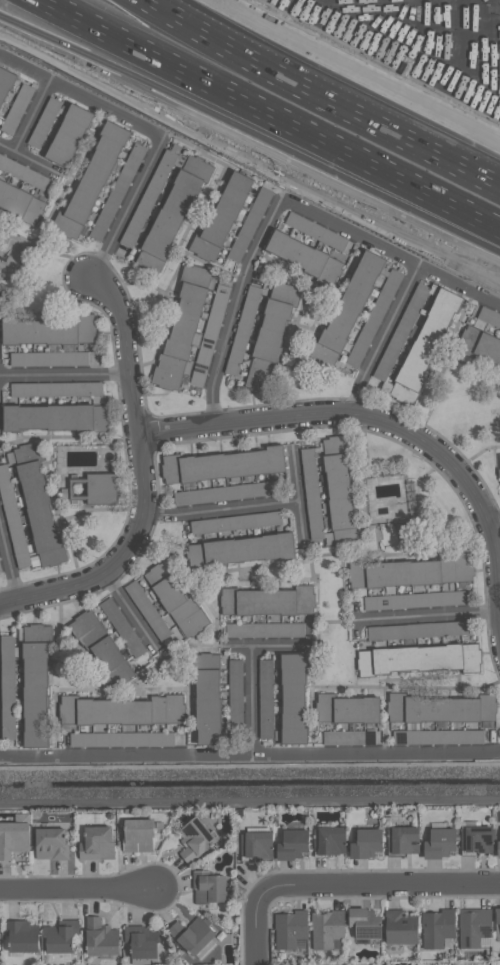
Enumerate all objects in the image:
road: (58, 28)
road: (51, 37)
building: (5, 82)
road: (330, 82)
road: (179, 94)
road: (79, 98)
building: (17, 108)
road: (31, 118)
building: (44, 122)
building: (68, 135)
road: (6, 149)
road: (34, 164)
building: (23, 173)
building: (91, 181)
building: (118, 191)
road: (378, 192)
building: (20, 202)
road: (127, 211)
building: (172, 215)
building: (222, 216)
building: (250, 224)
building: (317, 231)
road: (391, 254)
building: (304, 257)
road: (233, 309)
building: (346, 310)
building: (376, 314)
building: (181, 327)
building: (49, 330)
building: (243, 330)
building: (210, 333)
building: (270, 336)
building: (481, 336)
building: (427, 339)
road: (388, 341)
building: (49, 359)
road: (65, 374)
building: (56, 388)
building: (57, 417)
road: (369, 417)
road: (136, 420)
building: (499, 458)
building: (221, 465)
building: (498, 472)
building: (311, 483)
building: (339, 488)
building: (96, 489)
building: (228, 492)
road: (299, 502)
building: (39, 506)
building: (11, 508)
road: (220, 512)
road: (493, 516)
building: (235, 522)
building: (241, 549)
road: (10, 563)
building: (411, 571)
road: (53, 590)
building: (176, 600)
building: (415, 600)
building: (267, 601)
road: (128, 609)
road: (432, 617)
building: (122, 627)
building: (265, 630)
building: (418, 630)
building: (101, 648)
road: (283, 648)
building: (417, 658)
building: (35, 684)
building: (235, 693)
building: (266, 698)
building: (293, 698)
building: (207, 699)
road: (255, 701)
building: (441, 708)
building: (347, 709)
building: (121, 710)
building: (348, 737)
building: (438, 737)
building: (122, 739)
road: (250, 753)
building: (138, 834)
building: (14, 836)
building: (195, 839)
building: (403, 839)
building: (477, 839)
building: (329, 840)
building: (96, 843)
building: (366, 843)
building: (440, 843)
building: (51, 844)
building: (257, 844)
building: (293, 844)
building: (498, 848)
road: (376, 882)
building: (208, 886)
road: (77, 891)
building: (497, 916)
building: (365, 923)
building: (474, 926)
building: (437, 927)
building: (401, 928)
building: (326, 929)
building: (290, 930)
road: (257, 931)
building: (61, 935)
building: (192, 935)
building: (21, 936)
building: (100, 937)
building: (141, 941)

